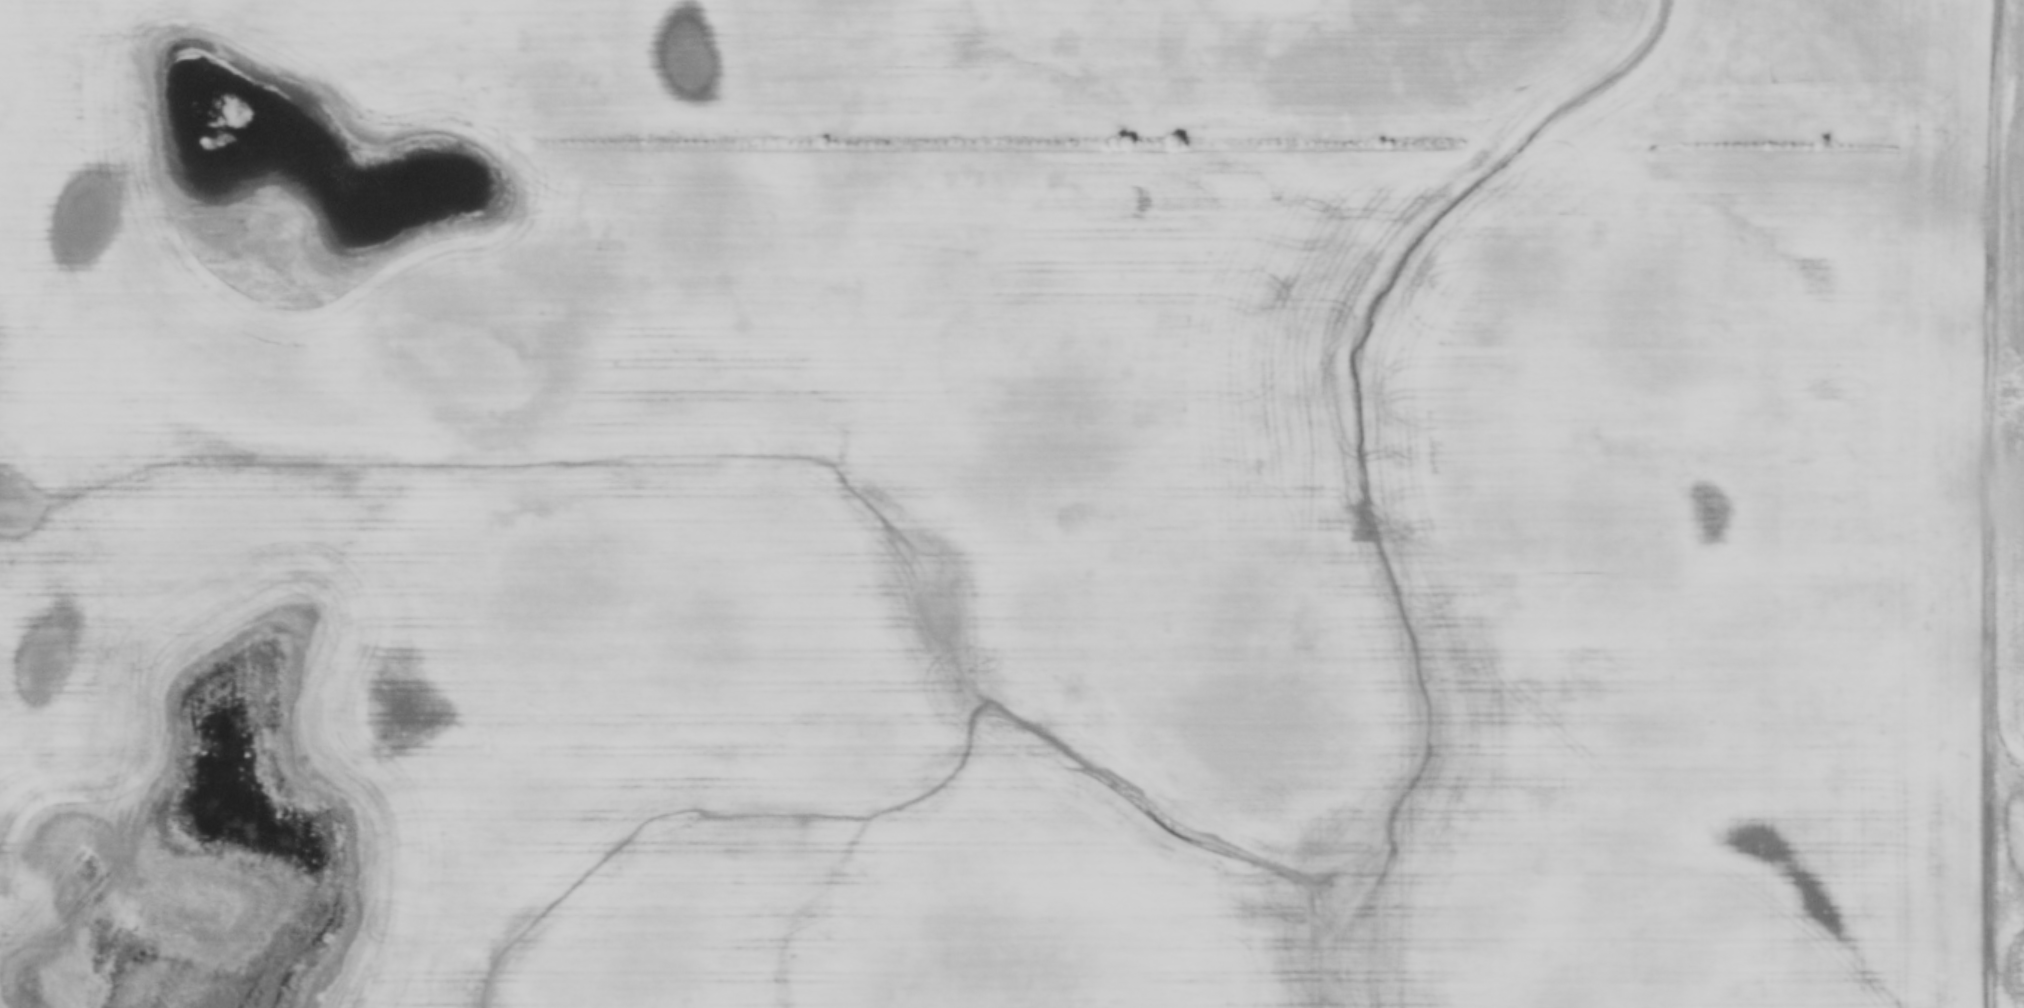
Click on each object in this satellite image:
road: (1991, 503)

